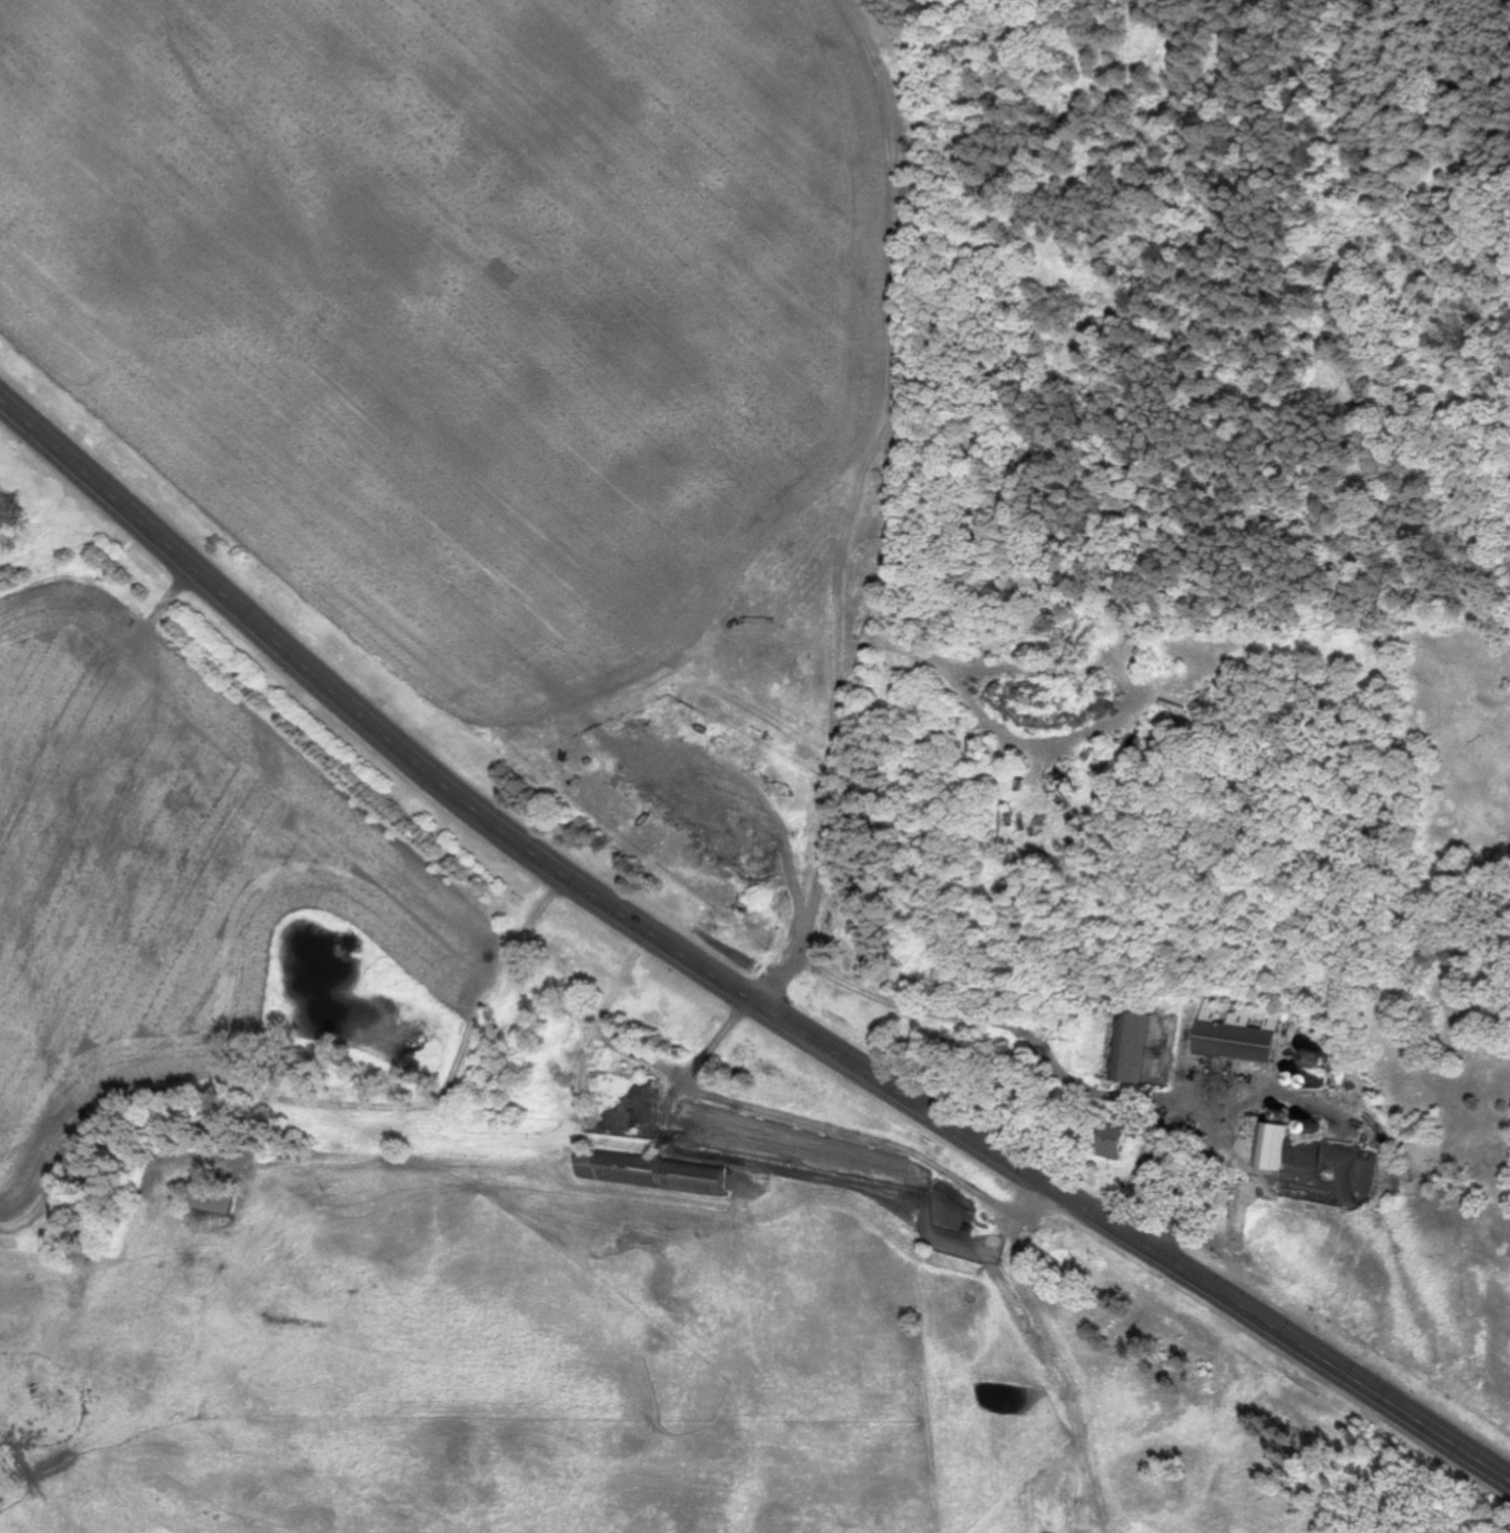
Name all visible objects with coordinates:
road: (723, 979)
road: (954, 1010)
building: (1239, 1031)
building: (1130, 1046)
road: (449, 1081)
building: (1117, 1136)
building: (1287, 1147)
building: (643, 1172)
building: (209, 1196)

